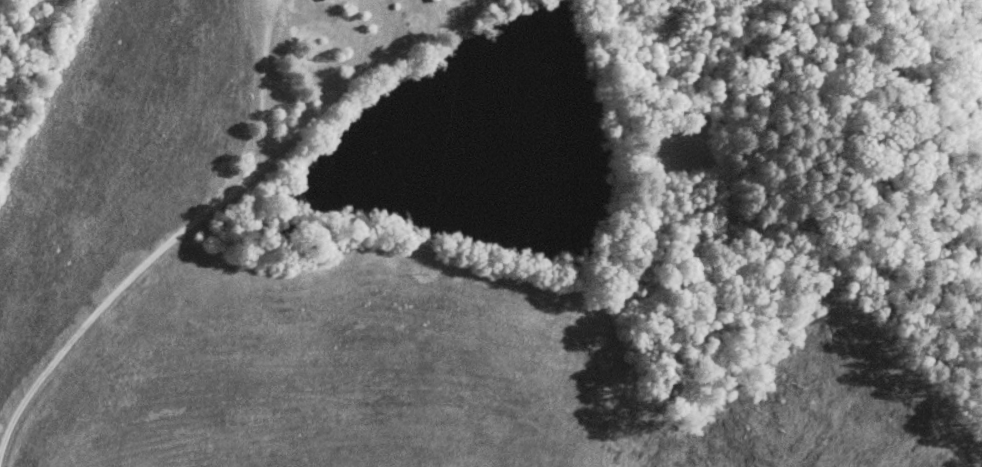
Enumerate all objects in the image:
road: (199, 220)

